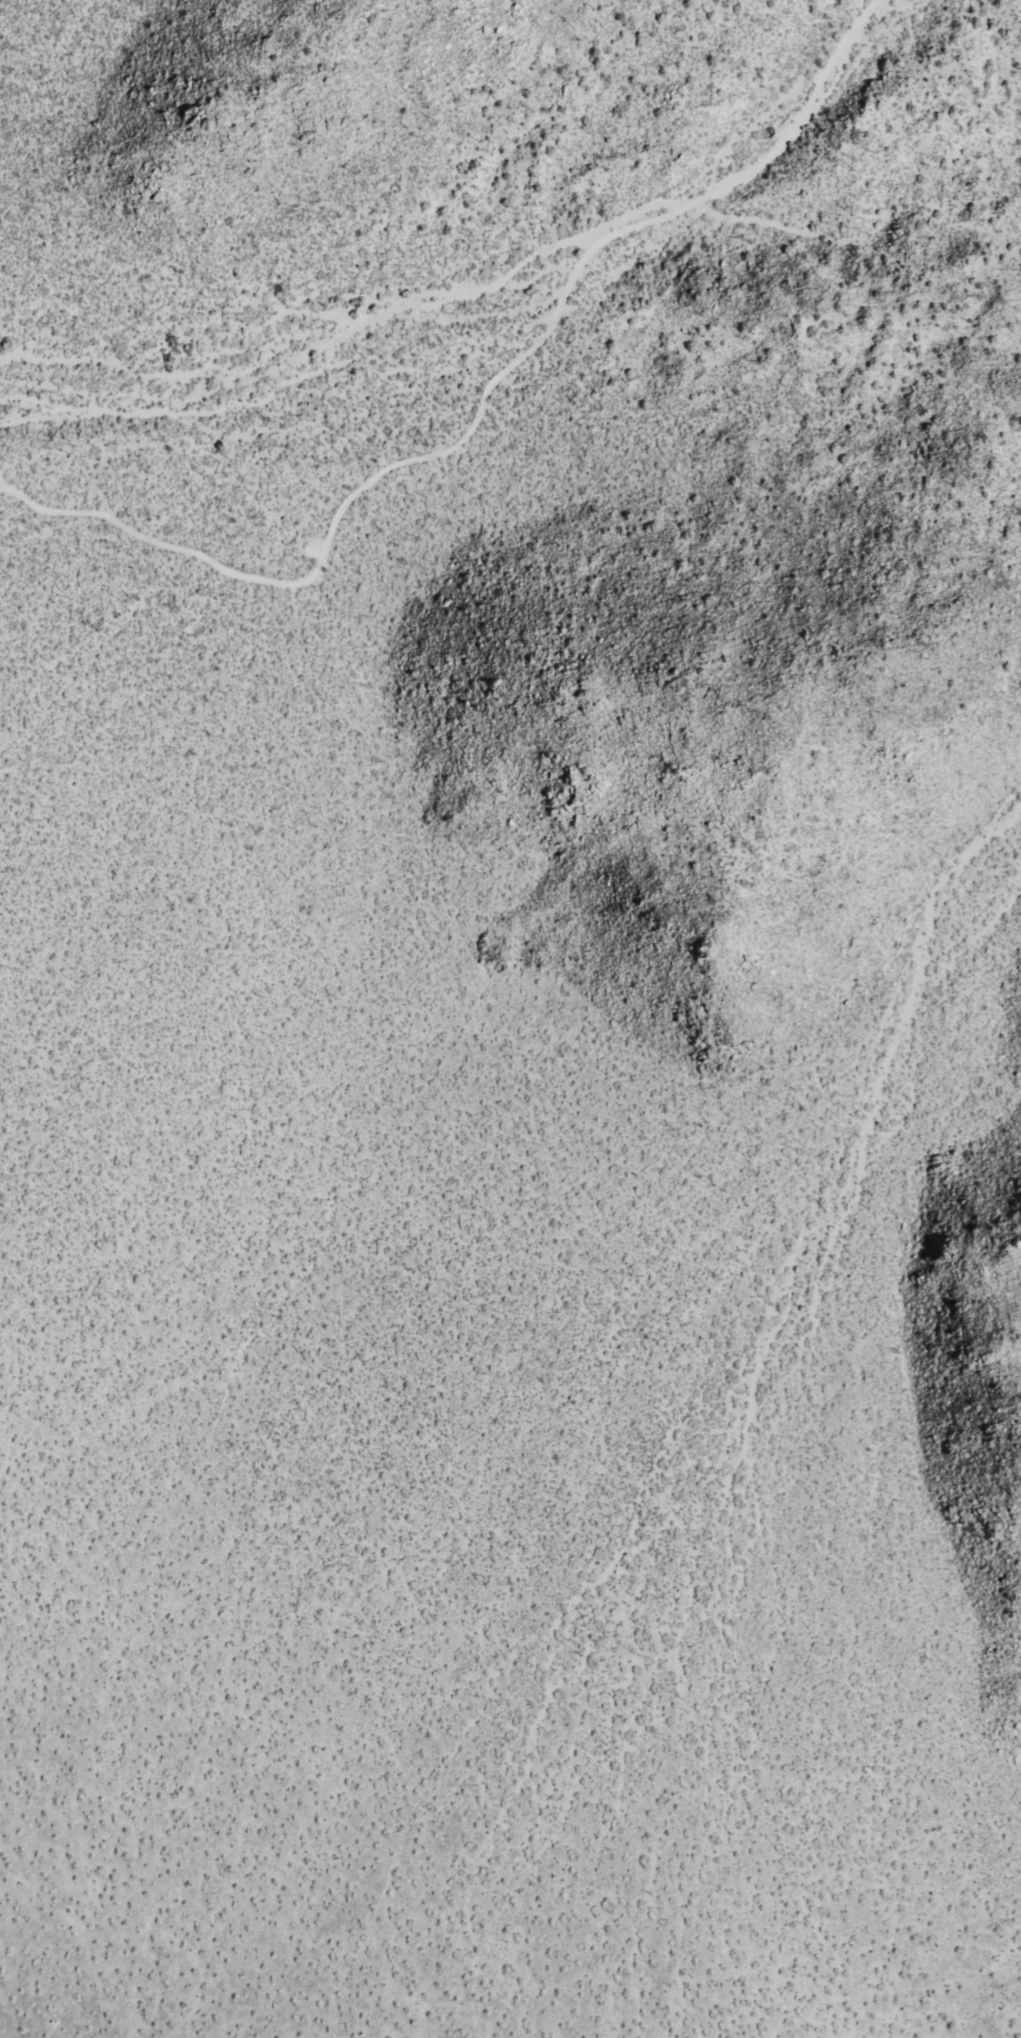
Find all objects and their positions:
road: (479, 405)

